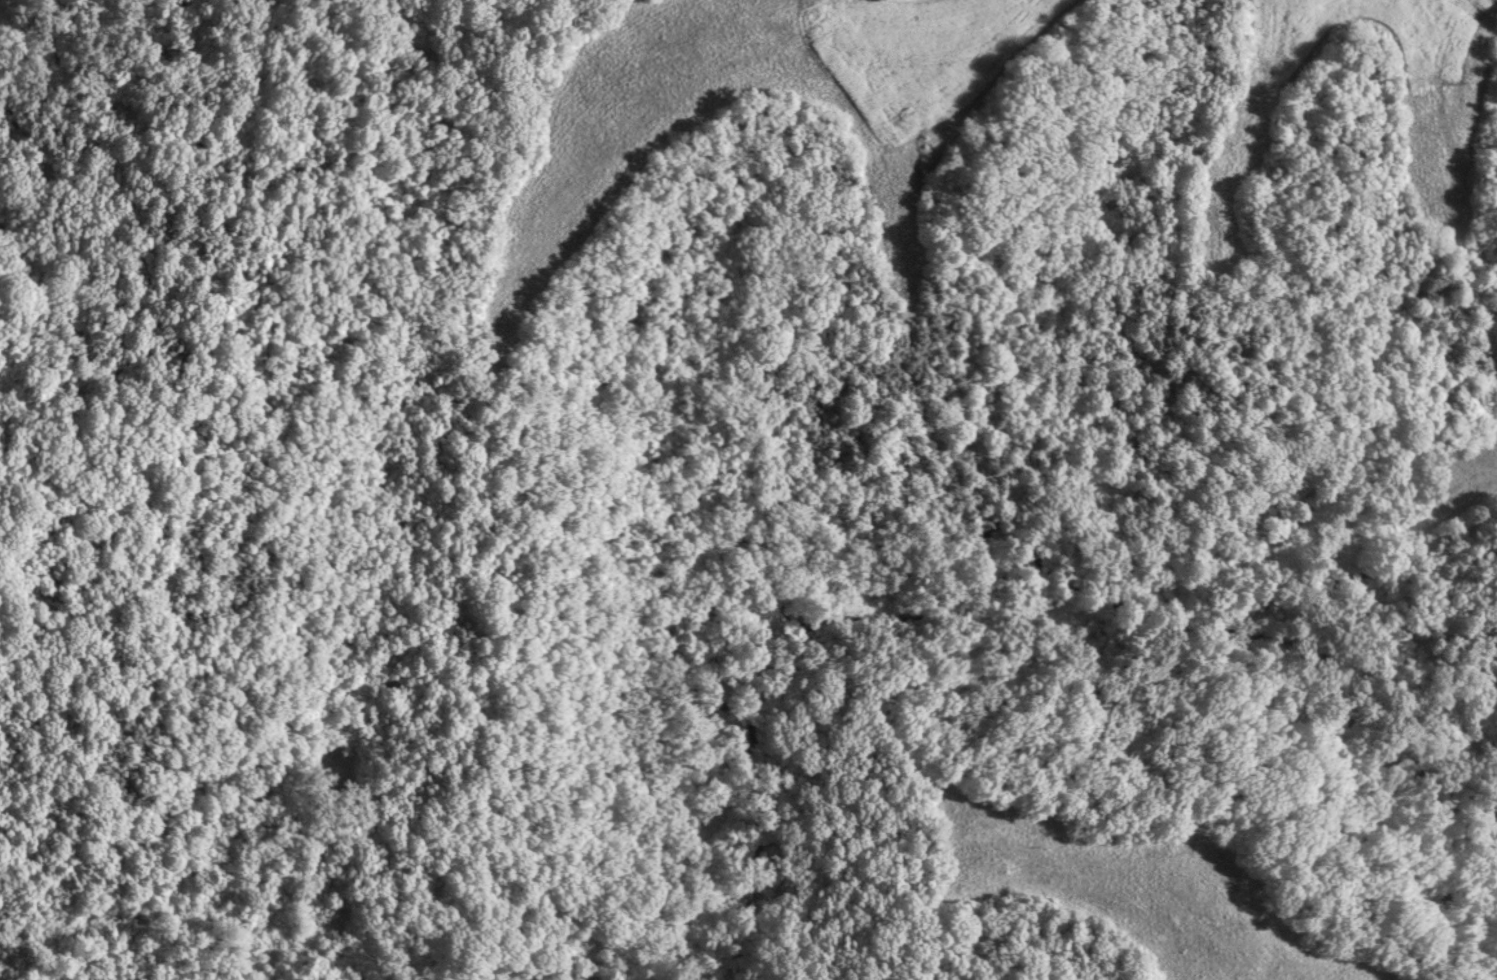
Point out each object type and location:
road: (1483, 10)
road: (1008, 614)

